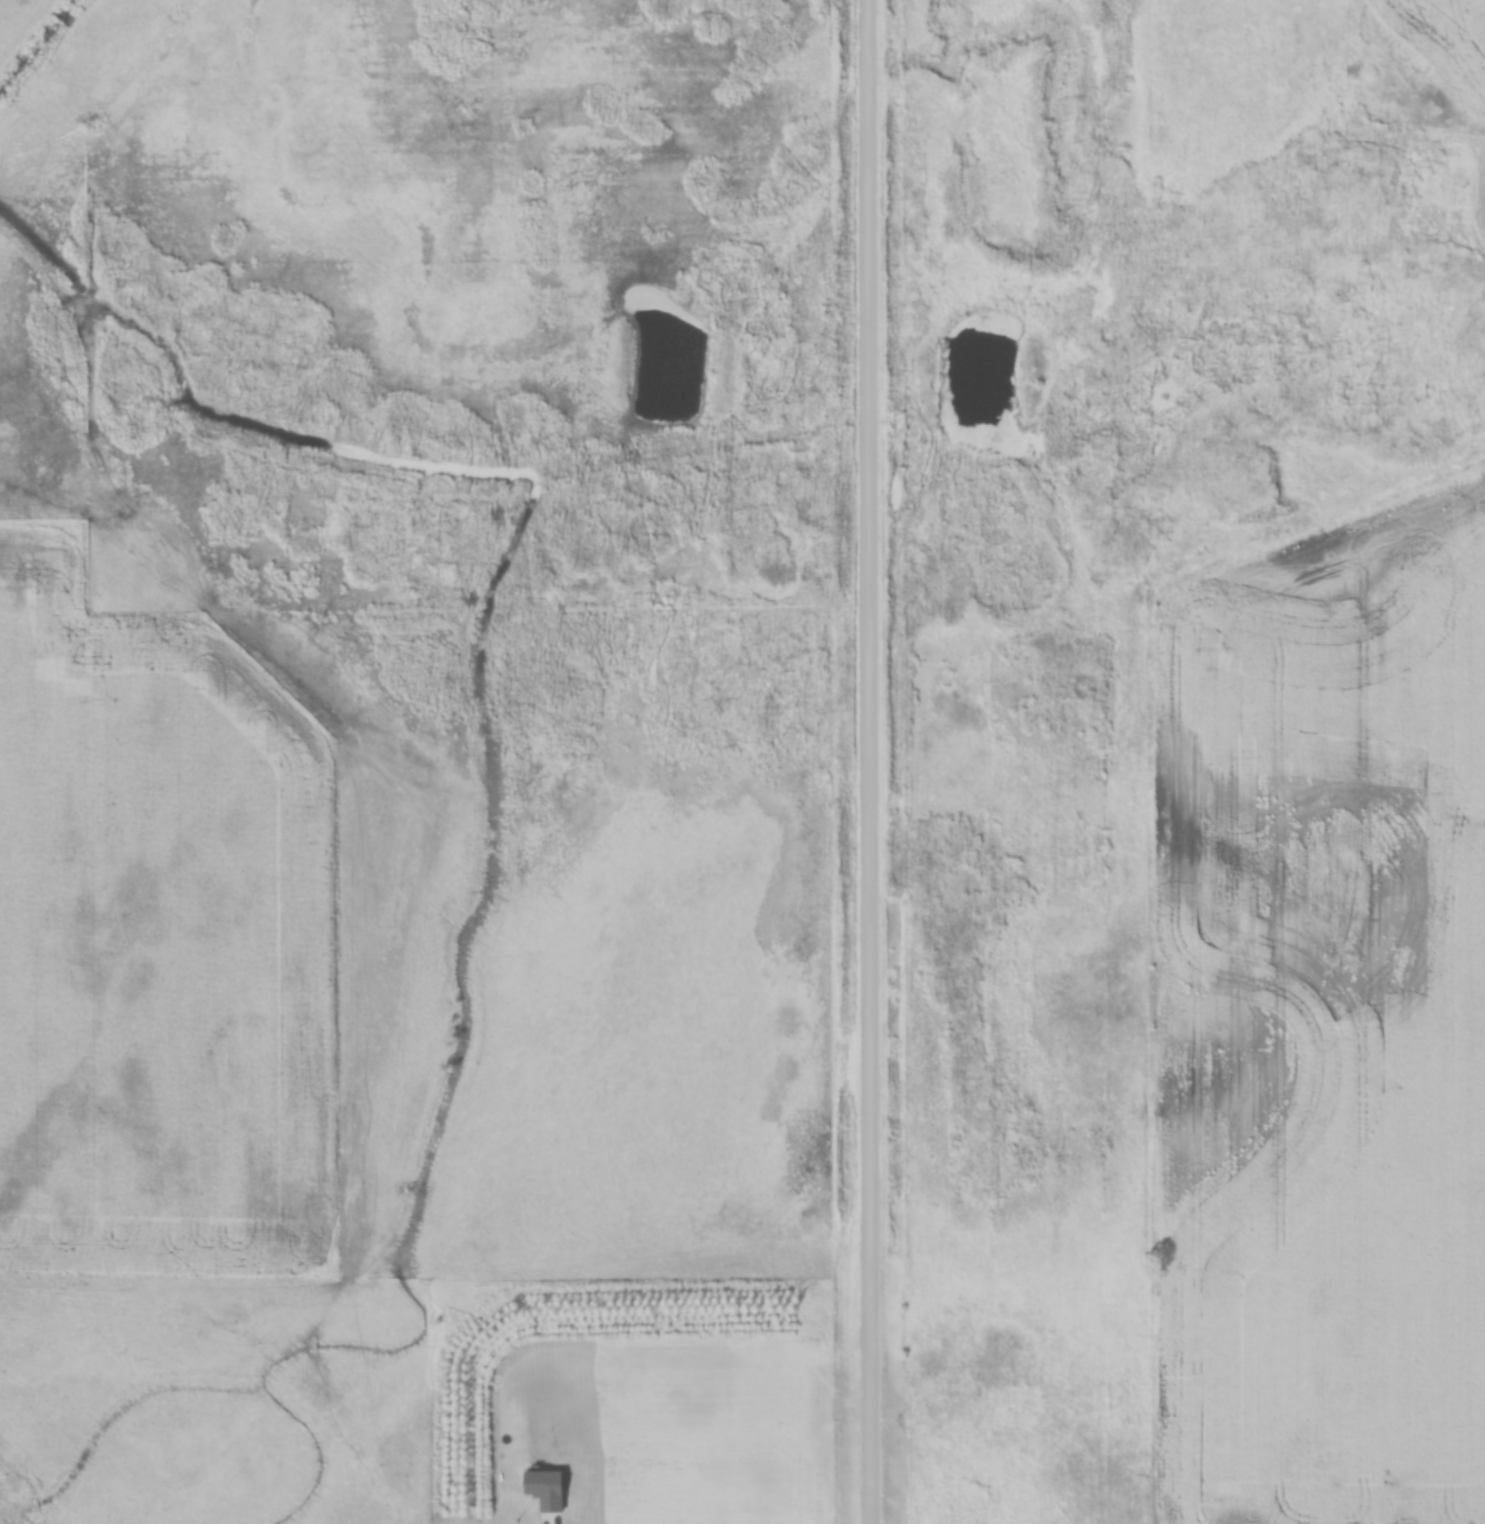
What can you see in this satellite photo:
road: (870, 762)

